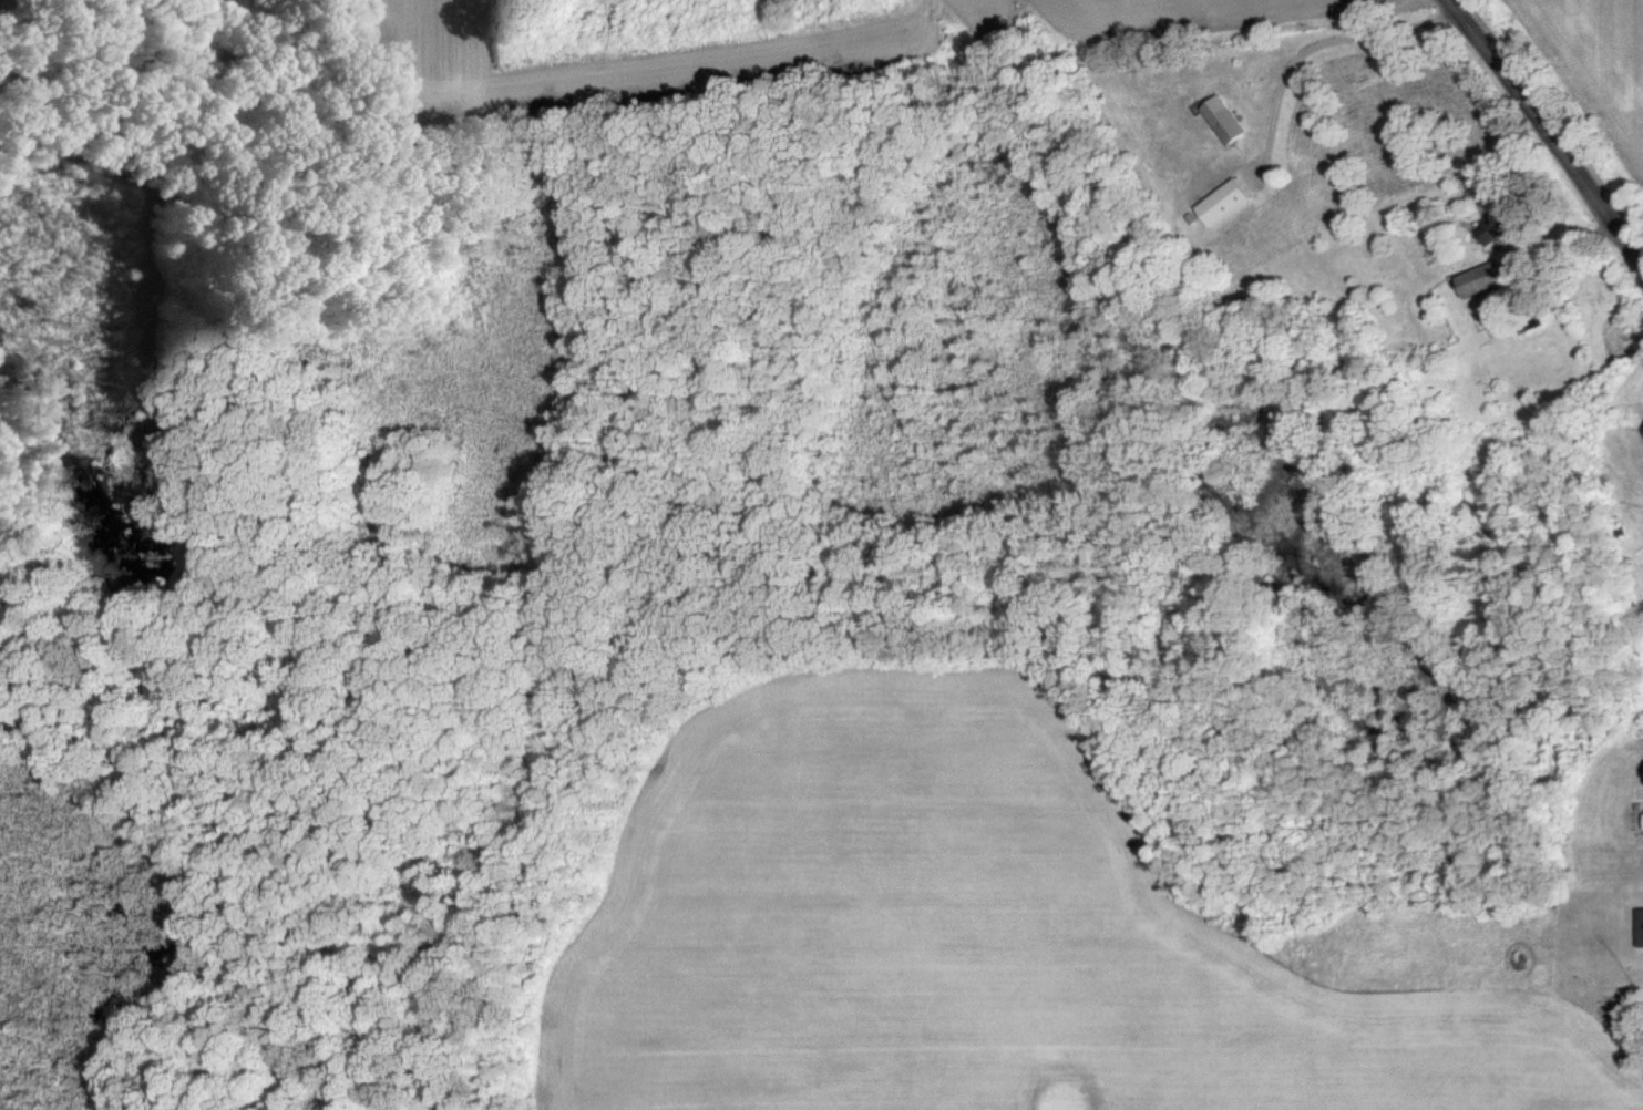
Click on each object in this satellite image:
road: (1327, 41)
building: (1228, 117)
road: (1548, 124)
building: (1230, 201)
building: (1503, 223)
road: (1567, 247)
building: (1485, 278)

